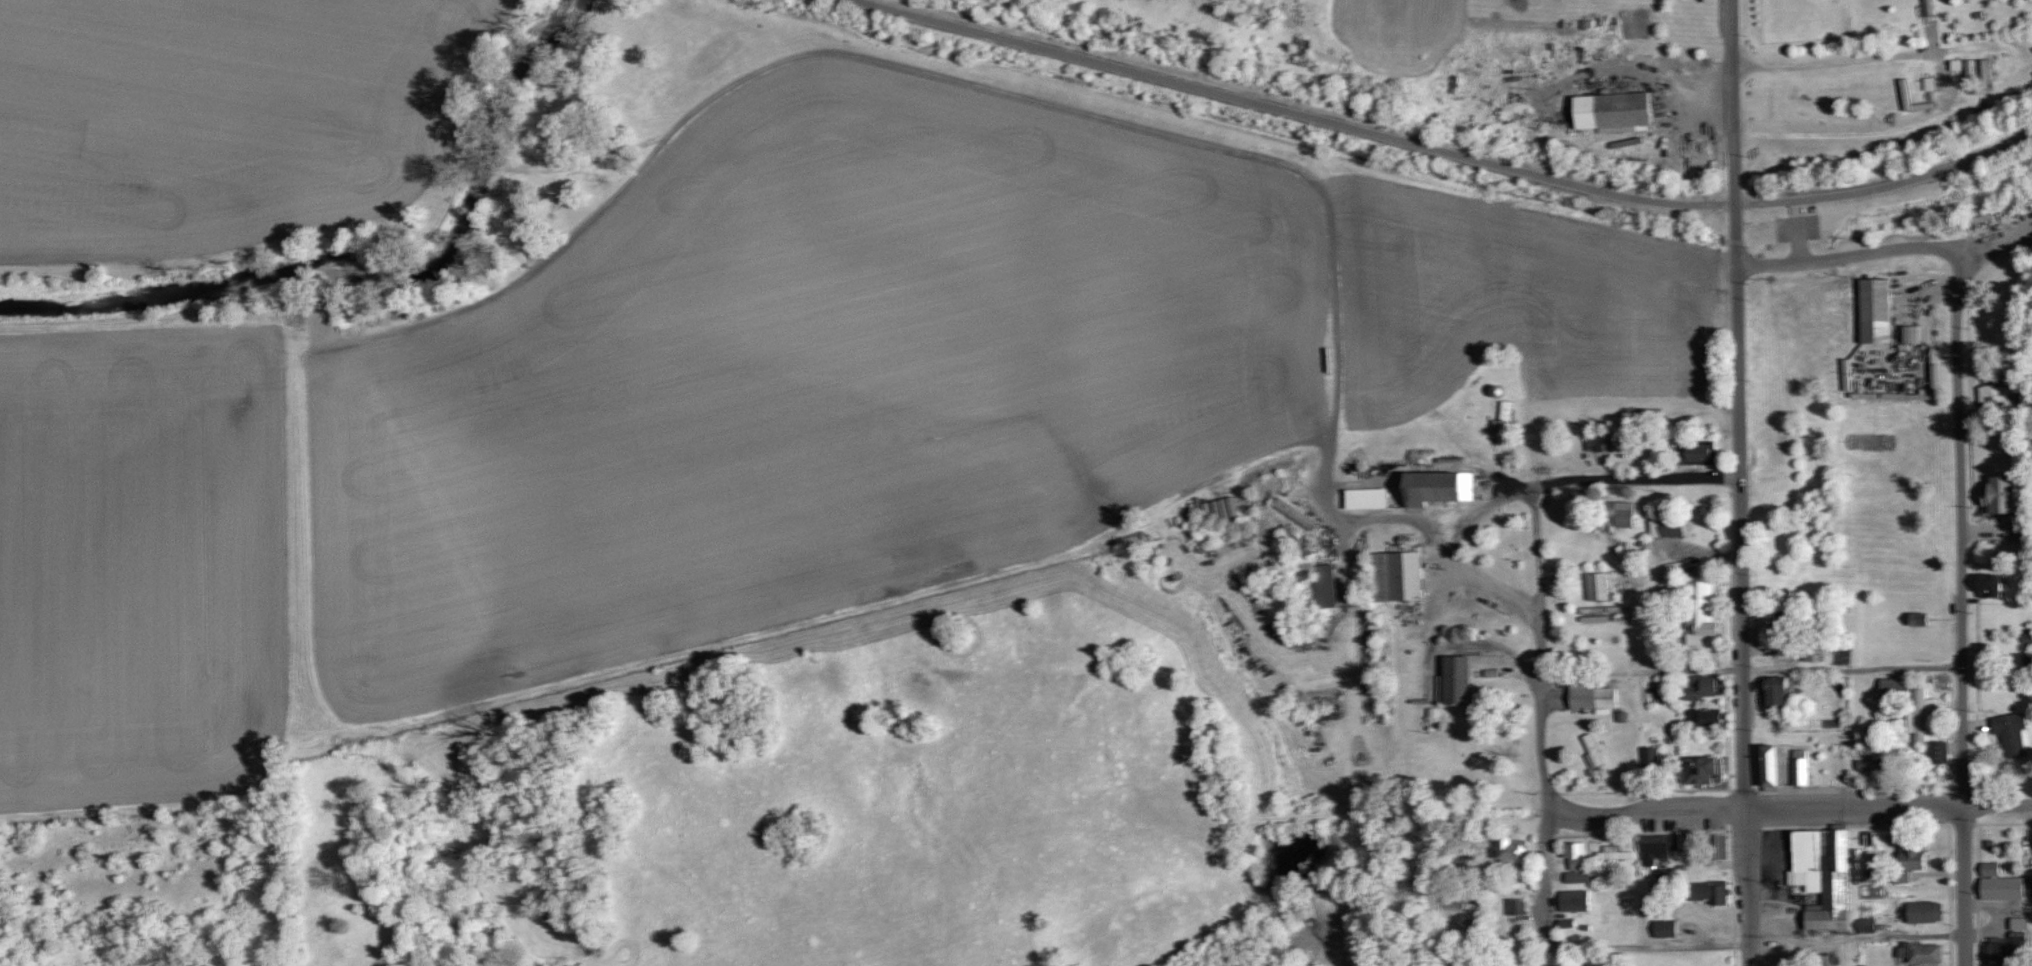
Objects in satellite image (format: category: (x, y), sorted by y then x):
building: (1928, 6)
road: (1731, 22)
road: (1828, 61)
building: (1611, 111)
road: (1444, 149)
road: (1795, 207)
parking lot: (1813, 228)
parking lot: (1797, 229)
parking lot: (1781, 230)
road: (1798, 239)
road: (1844, 255)
building: (1875, 309)
building: (1911, 333)
building: (1992, 392)
building: (1501, 420)
building: (1599, 442)
building: (1696, 452)
road: (1633, 481)
building: (1434, 486)
building: (1999, 493)
building: (1365, 497)
road: (1740, 505)
building: (1614, 513)
road: (1413, 519)
building: (1665, 527)
building: (1396, 575)
building: (1988, 583)
building: (1324, 585)
building: (1598, 585)
road: (1961, 605)
building: (1702, 613)
road: (1852, 665)
building: (1454, 679)
building: (1703, 686)
building: (1893, 686)
building: (1774, 690)
building: (1591, 696)
road: (1539, 707)
building: (1920, 713)
building: (1704, 716)
building: (2010, 732)
building: (1937, 750)
building: (1650, 756)
building: (1868, 763)
building: (1768, 765)
building: (1799, 766)
building: (1702, 769)
road: (1996, 807)
road: (1753, 809)
building: (1657, 846)
building: (1716, 846)
building: (1510, 850)
building: (1614, 853)
building: (1907, 859)
building: (1575, 860)
building: (1822, 874)
building: (2002, 883)
building: (1708, 891)
building: (1574, 900)
building: (1517, 905)
building: (1923, 911)
building: (2016, 922)
building: (1865, 924)
building: (1664, 927)
road: (1640, 943)
building: (1996, 949)
building: (1919, 952)

